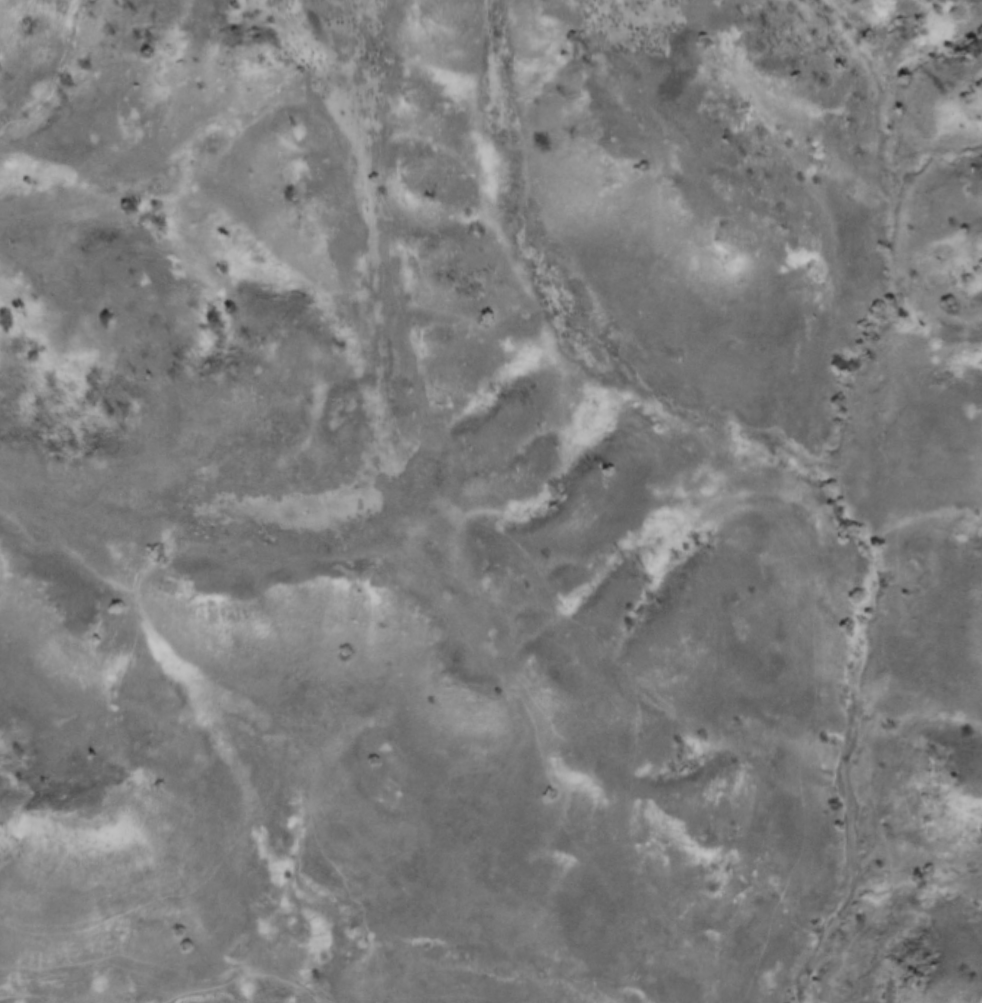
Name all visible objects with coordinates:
road: (201, 976)

